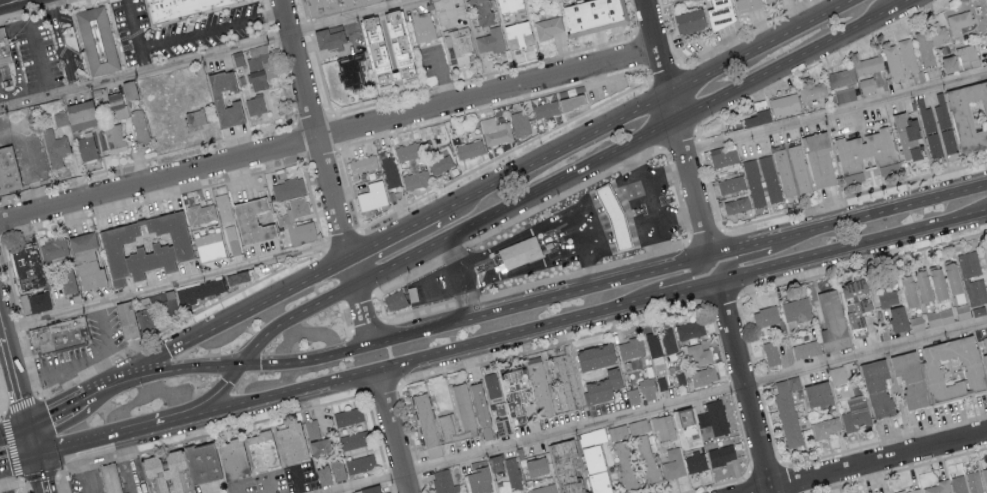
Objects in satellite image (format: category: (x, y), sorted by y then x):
building: (766, 0)
road: (5, 1)
road: (411, 1)
building: (745, 4)
road: (903, 4)
building: (333, 5)
building: (507, 5)
building: (179, 7)
road: (305, 10)
building: (481, 11)
road: (448, 12)
building: (719, 13)
building: (592, 14)
road: (636, 18)
building: (688, 20)
building: (959, 23)
building: (423, 26)
road: (212, 27)
building: (547, 27)
road: (309, 28)
road: (352, 33)
building: (517, 33)
road: (137, 36)
building: (333, 37)
building: (71, 40)
building: (99, 40)
building: (490, 40)
building: (397, 43)
building: (457, 44)
road: (59, 45)
road: (655, 46)
road: (711, 46)
road: (760, 46)
building: (6, 47)
building: (924, 48)
road: (640, 51)
road: (211, 55)
building: (907, 55)
building: (257, 56)
building: (967, 56)
road: (37, 60)
building: (892, 62)
building: (949, 63)
road: (787, 65)
building: (354, 70)
road: (665, 71)
building: (867, 72)
road: (648, 73)
road: (322, 75)
road: (483, 75)
road: (442, 78)
building: (256, 79)
building: (842, 85)
road: (759, 91)
building: (812, 93)
building: (215, 96)
building: (574, 102)
building: (784, 104)
building: (255, 105)
road: (492, 107)
road: (674, 107)
building: (546, 109)
road: (835, 109)
building: (80, 114)
building: (969, 114)
building: (126, 117)
building: (194, 117)
road: (714, 117)
building: (755, 118)
building: (927, 119)
building: (520, 122)
road: (313, 129)
building: (495, 131)
road: (696, 132)
road: (680, 135)
road: (328, 136)
building: (906, 136)
road: (677, 138)
building: (948, 140)
building: (934, 144)
road: (699, 146)
building: (54, 147)
building: (86, 148)
building: (469, 148)
building: (864, 149)
road: (554, 152)
road: (504, 154)
building: (723, 155)
road: (29, 158)
building: (819, 159)
building: (440, 164)
building: (362, 165)
building: (412, 165)
building: (799, 168)
building: (9, 170)
building: (390, 170)
building: (785, 172)
building: (762, 179)
road: (690, 180)
road: (651, 181)
building: (731, 184)
road: (642, 185)
building: (288, 188)
road: (350, 188)
building: (373, 195)
road: (608, 197)
road: (515, 201)
building: (736, 204)
road: (815, 205)
building: (223, 206)
building: (298, 206)
road: (882, 209)
building: (201, 212)
road: (674, 216)
road: (517, 217)
building: (615, 217)
building: (252, 220)
road: (640, 224)
road: (621, 229)
building: (299, 231)
road: (577, 233)
road: (703, 233)
road: (704, 235)
road: (393, 236)
road: (596, 237)
road: (412, 238)
road: (514, 238)
building: (232, 239)
road: (773, 239)
road: (339, 243)
road: (850, 243)
road: (657, 244)
building: (208, 245)
building: (143, 246)
road: (738, 248)
building: (53, 249)
building: (523, 252)
road: (745, 256)
building: (85, 260)
road: (686, 261)
road: (862, 264)
building: (27, 267)
road: (523, 268)
road: (584, 269)
road: (461, 274)
road: (679, 278)
building: (979, 279)
building: (67, 280)
building: (952, 281)
building: (937, 283)
road: (177, 284)
building: (922, 285)
road: (679, 287)
building: (907, 290)
building: (203, 291)
building: (886, 297)
road: (359, 298)
building: (395, 299)
road: (722, 300)
building: (854, 300)
building: (39, 302)
building: (163, 303)
road: (381, 303)
building: (795, 309)
road: (239, 311)
road: (361, 312)
road: (287, 313)
building: (765, 315)
building: (939, 317)
building: (129, 319)
road: (343, 319)
building: (900, 320)
building: (831, 321)
road: (449, 322)
building: (916, 323)
road: (368, 324)
building: (690, 329)
road: (2, 330)
building: (858, 331)
road: (386, 333)
building: (60, 336)
building: (668, 340)
road: (552, 344)
building: (654, 347)
building: (631, 348)
building: (984, 348)
building: (805, 349)
road: (390, 351)
building: (770, 352)
building: (698, 354)
building: (595, 357)
road: (410, 358)
road: (83, 359)
traffic signals: (235, 364)
road: (185, 369)
building: (952, 369)
road: (394, 370)
traffic signals: (135, 371)
building: (837, 375)
building: (703, 376)
building: (566, 377)
building: (909, 378)
road: (112, 383)
road: (72, 384)
building: (491, 385)
road: (743, 385)
building: (540, 386)
building: (602, 387)
building: (876, 387)
building: (515, 389)
building: (647, 389)
building: (817, 393)
road: (209, 395)
building: (633, 395)
road: (22, 403)
road: (662, 407)
building: (788, 410)
road: (59, 411)
building: (486, 415)
building: (856, 415)
building: (348, 416)
building: (458, 416)
building: (714, 417)
building: (686, 422)
traffic signals: (27, 425)
building: (427, 425)
building: (638, 426)
building: (663, 427)
building: (826, 427)
road: (13, 429)
building: (311, 429)
road: (391, 430)
road: (121, 432)
building: (618, 432)
building: (592, 436)
building: (354, 439)
building: (295, 444)
building: (319, 446)
road: (52, 451)
building: (266, 451)
building: (721, 454)
traffic signals: (37, 456)
building: (236, 459)
building: (647, 459)
road: (18, 462)
building: (206, 462)
building: (695, 462)
building: (360, 463)
building: (495, 463)
building: (674, 463)
road: (873, 463)
road: (124, 464)
building: (626, 465)
building: (565, 466)
building: (535, 467)
building: (596, 469)
building: (329, 472)
building: (170, 473)
building: (512, 473)
building: (985, 476)
building: (478, 478)
building: (113, 479)
road: (299, 481)
road: (3, 482)
building: (444, 482)
building: (974, 482)
road: (266, 484)
building: (959, 484)
building: (938, 487)
road: (238, 488)
building: (370, 489)
building: (543, 489)
building: (910, 491)
building: (125, 492)

